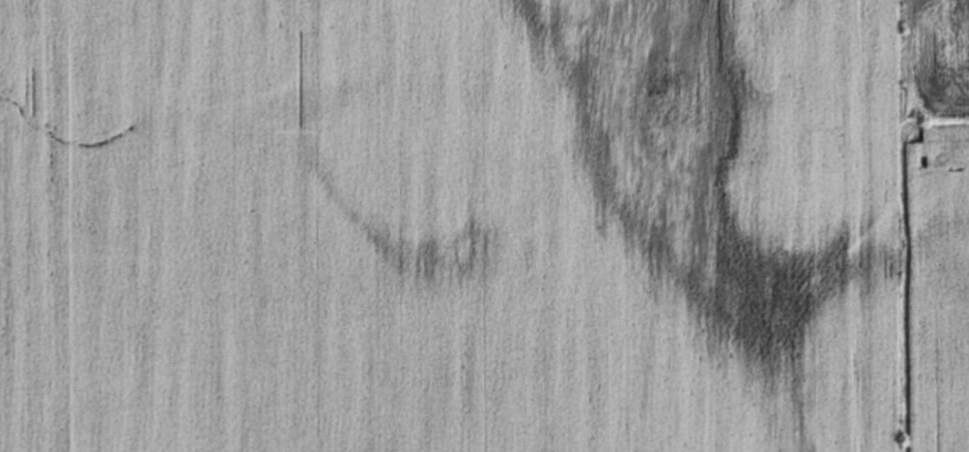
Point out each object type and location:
crop: (937, 55)

